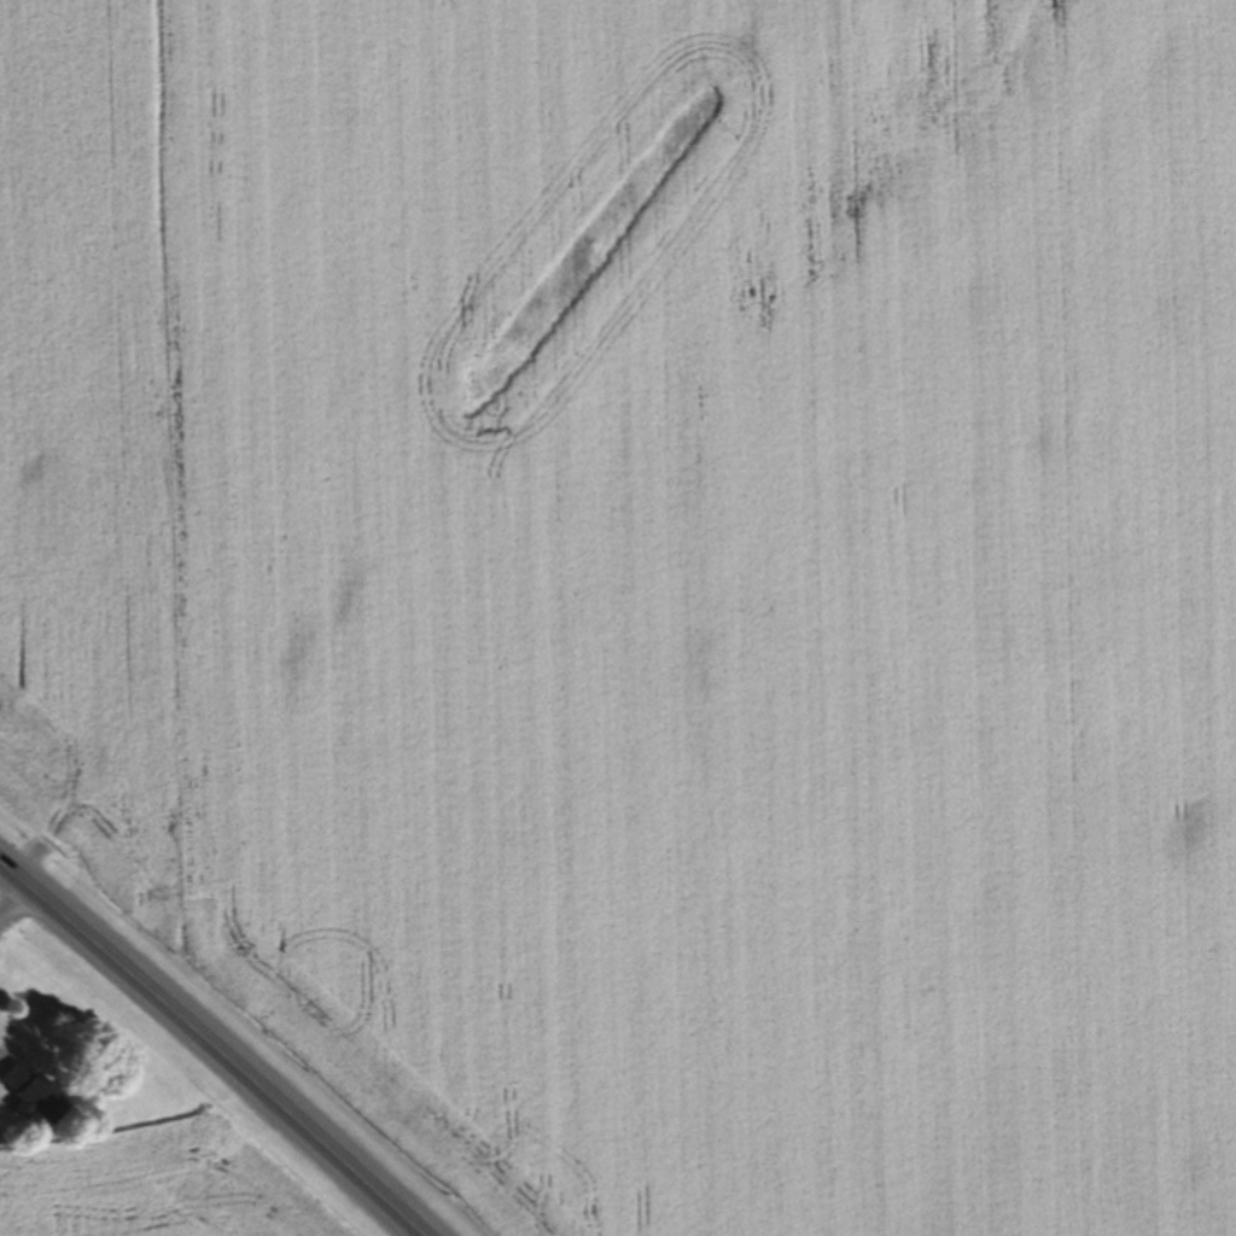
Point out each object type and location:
road: (6, 902)
road: (200, 1061)
building: (27, 1098)

